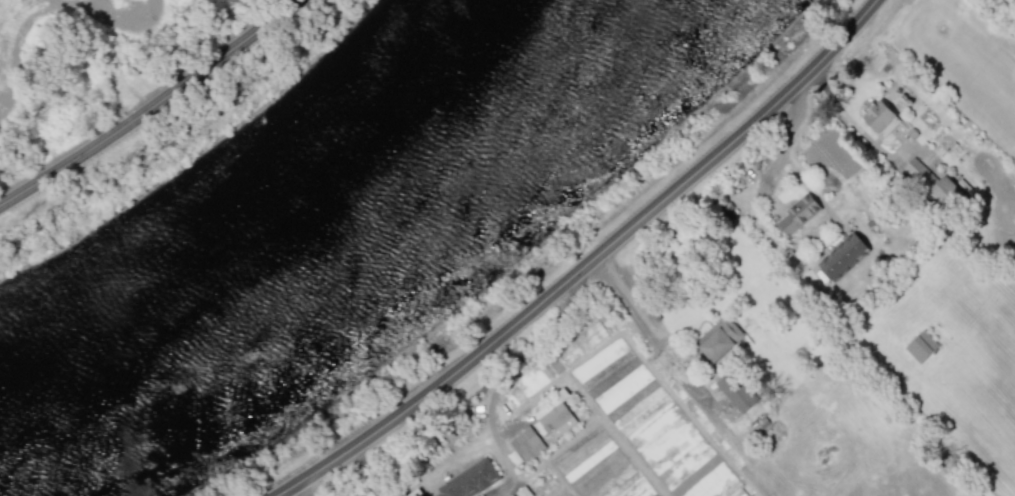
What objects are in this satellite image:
road: (152, 110)
road: (844, 115)
building: (880, 118)
road: (785, 157)
building: (919, 171)
building: (946, 193)
building: (797, 214)
building: (841, 255)
road: (589, 262)
river: (347, 274)
building: (720, 338)
building: (921, 346)
road: (668, 360)
road: (515, 368)
building: (735, 390)
building: (553, 418)
building: (524, 445)
road: (369, 473)
building: (467, 481)
road: (504, 489)
building: (739, 492)

